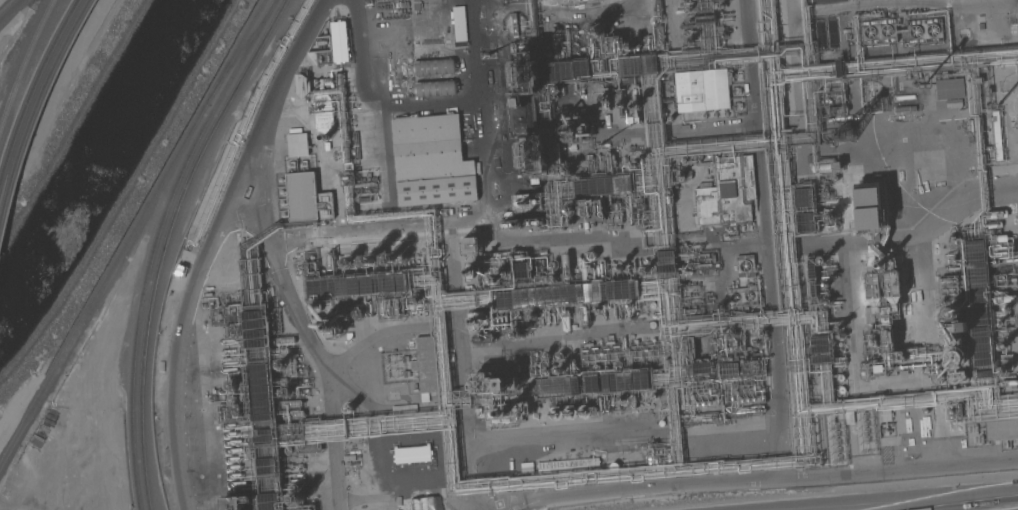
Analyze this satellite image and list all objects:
railway: (7, 7)
building: (658, 10)
building: (680, 11)
building: (705, 18)
building: (459, 26)
building: (924, 31)
building: (596, 32)
building: (878, 32)
building: (848, 35)
building: (660, 36)
building: (339, 42)
building: (629, 44)
building: (611, 46)
railway: (236, 52)
railway: (241, 52)
building: (650, 64)
railway: (25, 65)
building: (630, 65)
building: (838, 68)
building: (568, 72)
building: (524, 73)
railway: (38, 84)
railway: (49, 85)
building: (948, 88)
building: (701, 91)
building: (605, 100)
building: (827, 101)
building: (519, 102)
building: (620, 102)
building: (636, 103)
building: (837, 110)
power plant: (322, 126)
building: (575, 131)
building: (845, 134)
building: (997, 135)
building: (297, 144)
building: (532, 156)
building: (425, 161)
building: (633, 166)
building: (826, 167)
building: (567, 170)
building: (681, 176)
railway: (3, 186)
building: (604, 186)
building: (727, 192)
building: (803, 193)
building: (668, 197)
building: (306, 198)
building: (527, 202)
building: (804, 203)
railway: (7, 207)
building: (570, 209)
building: (869, 209)
building: (604, 211)
building: (996, 214)
building: (805, 217)
building: (830, 217)
building: (521, 224)
building: (585, 225)
building: (994, 225)
building: (806, 227)
building: (998, 238)
building: (953, 240)
railway: (156, 241)
railway: (167, 241)
road: (209, 245)
building: (470, 245)
building: (591, 256)
building: (395, 259)
building: (433, 259)
building: (713, 259)
building: (329, 261)
building: (369, 261)
building: (822, 261)
building: (954, 261)
building: (665, 262)
building: (348, 263)
building: (882, 264)
building: (704, 265)
building: (519, 266)
building: (566, 266)
building: (745, 266)
building: (619, 267)
building: (647, 268)
building: (811, 268)
building: (601, 269)
building: (473, 272)
building: (687, 273)
building: (520, 275)
building: (498, 278)
building: (245, 282)
building: (825, 284)
building: (893, 284)
building: (357, 286)
building: (874, 286)
railway: (102, 287)
building: (813, 288)
building: (948, 288)
building: (567, 294)
building: (1005, 299)
building: (978, 300)
building: (739, 301)
building: (826, 302)
building: (652, 305)
building: (630, 306)
building: (396, 307)
building: (366, 308)
building: (370, 308)
building: (382, 308)
building: (389, 308)
building: (597, 309)
building: (952, 313)
building: (231, 314)
building: (253, 315)
building: (583, 316)
building: (533, 317)
building: (565, 320)
building: (477, 321)
building: (1000, 323)
building: (255, 325)
building: (333, 326)
building: (232, 330)
building: (955, 332)
building: (735, 333)
building: (763, 333)
building: (255, 334)
building: (516, 334)
building: (349, 336)
building: (490, 338)
building: (888, 338)
building: (477, 339)
building: (712, 340)
building: (820, 340)
building: (227, 341)
building: (283, 341)
building: (754, 342)
building: (256, 343)
building: (728, 344)
building: (1001, 347)
building: (689, 349)
building: (820, 349)
building: (228, 351)
building: (714, 354)
building: (545, 355)
building: (559, 356)
building: (955, 358)
building: (821, 359)
building: (230, 362)
building: (280, 364)
building: (428, 366)
building: (258, 367)
building: (879, 368)
building: (230, 369)
building: (729, 369)
building: (560, 370)
building: (546, 371)
building: (1003, 371)
building: (958, 375)
building: (937, 377)
building: (259, 378)
building: (840, 378)
building: (641, 380)
building: (622, 381)
building: (605, 383)
building: (1009, 383)
building: (233, 384)
building: (506, 384)
building: (557, 387)
building: (841, 390)
building: (261, 392)
building: (286, 392)
building: (654, 397)
building: (752, 400)
building: (621, 401)
building: (612, 402)
building: (633, 402)
building: (292, 404)
building: (708, 404)
building: (601, 405)
building: (262, 406)
building: (348, 408)
building: (235, 411)
building: (594, 411)
building: (506, 412)
building: (563, 412)
building: (584, 412)
building: (294, 415)
building: (886, 415)
building: (263, 417)
building: (712, 419)
building: (662, 423)
building: (228, 425)
building: (1001, 430)
building: (266, 432)
building: (229, 434)
building: (264, 438)
building: (232, 441)
building: (233, 449)
building: (308, 449)
building: (232, 458)
building: (659, 460)
building: (267, 462)
building: (232, 466)
building: (567, 467)
building: (613, 467)
building: (268, 470)
building: (232, 475)
building: (236, 483)
building: (269, 497)
road: (919, 501)
building: (237, 502)
building: (302, 502)
building: (270, 506)

